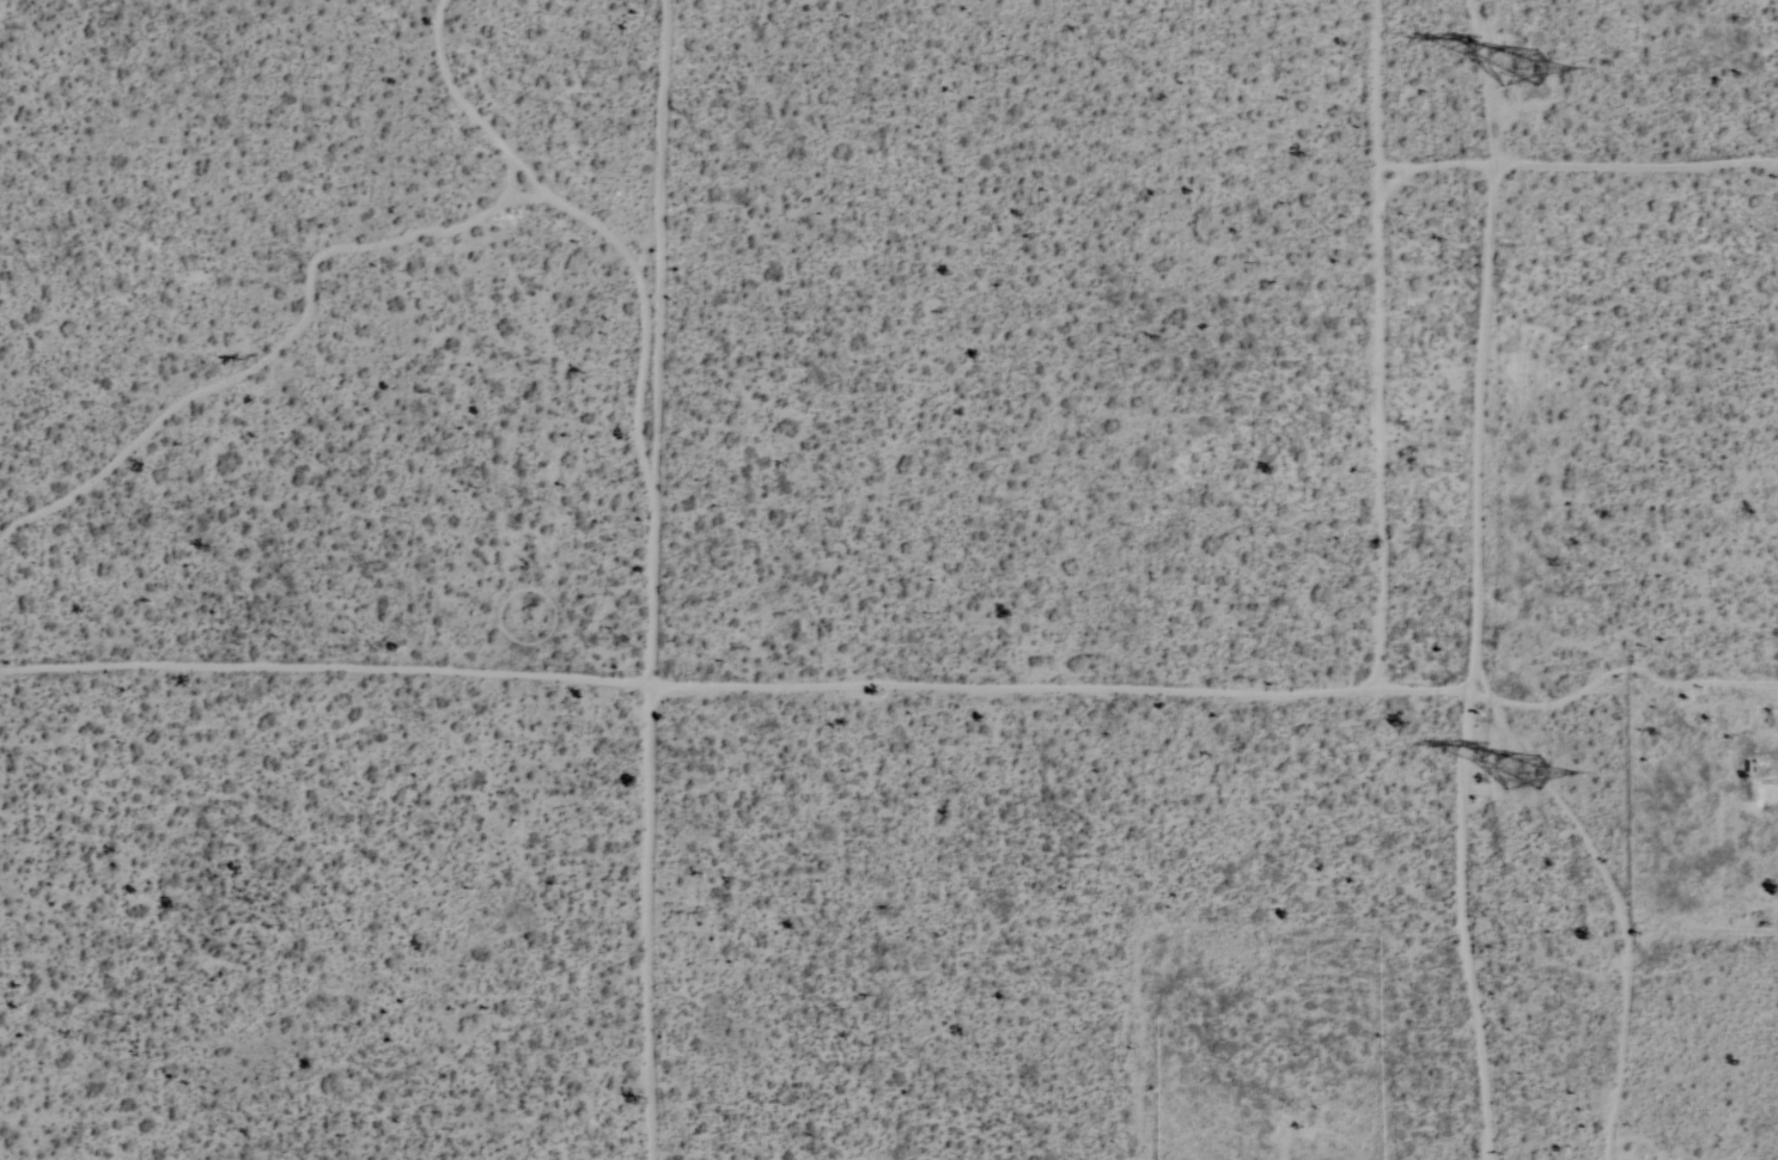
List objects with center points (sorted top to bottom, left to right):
power tower: (1509, 59)
road: (1693, 99)
road: (1488, 159)
road: (1201, 356)
road: (324, 668)
road: (925, 698)
power tower: (1504, 775)
road: (646, 924)

